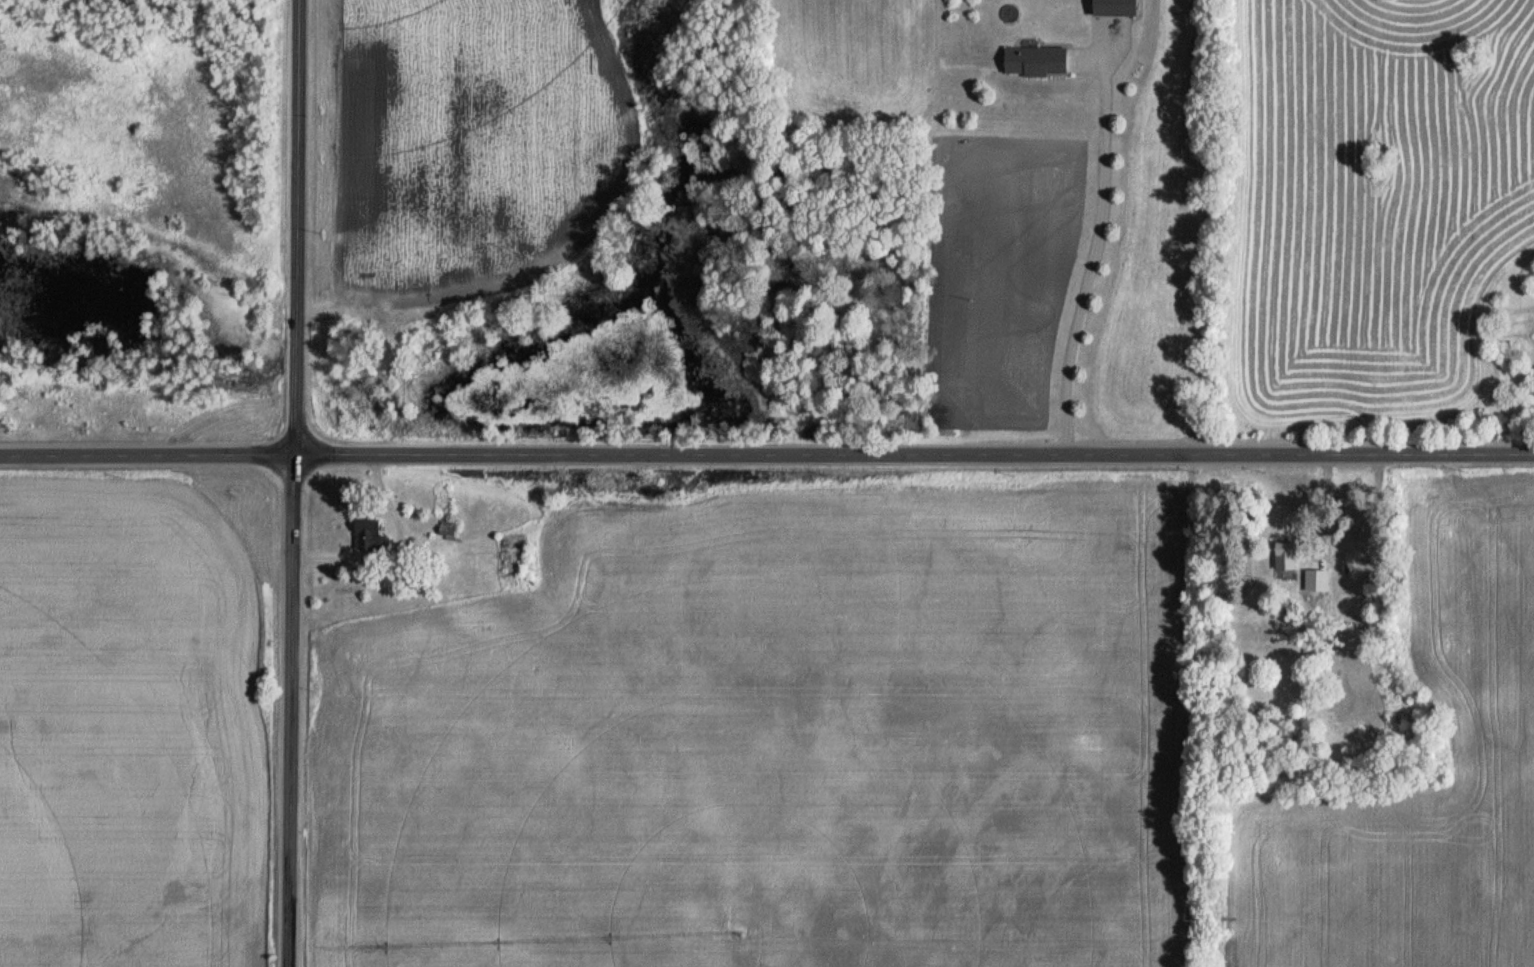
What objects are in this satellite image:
building: (1113, 7)
building: (1034, 60)
road: (1091, 242)
road: (766, 450)
road: (297, 483)
building: (367, 537)
building: (1285, 557)

